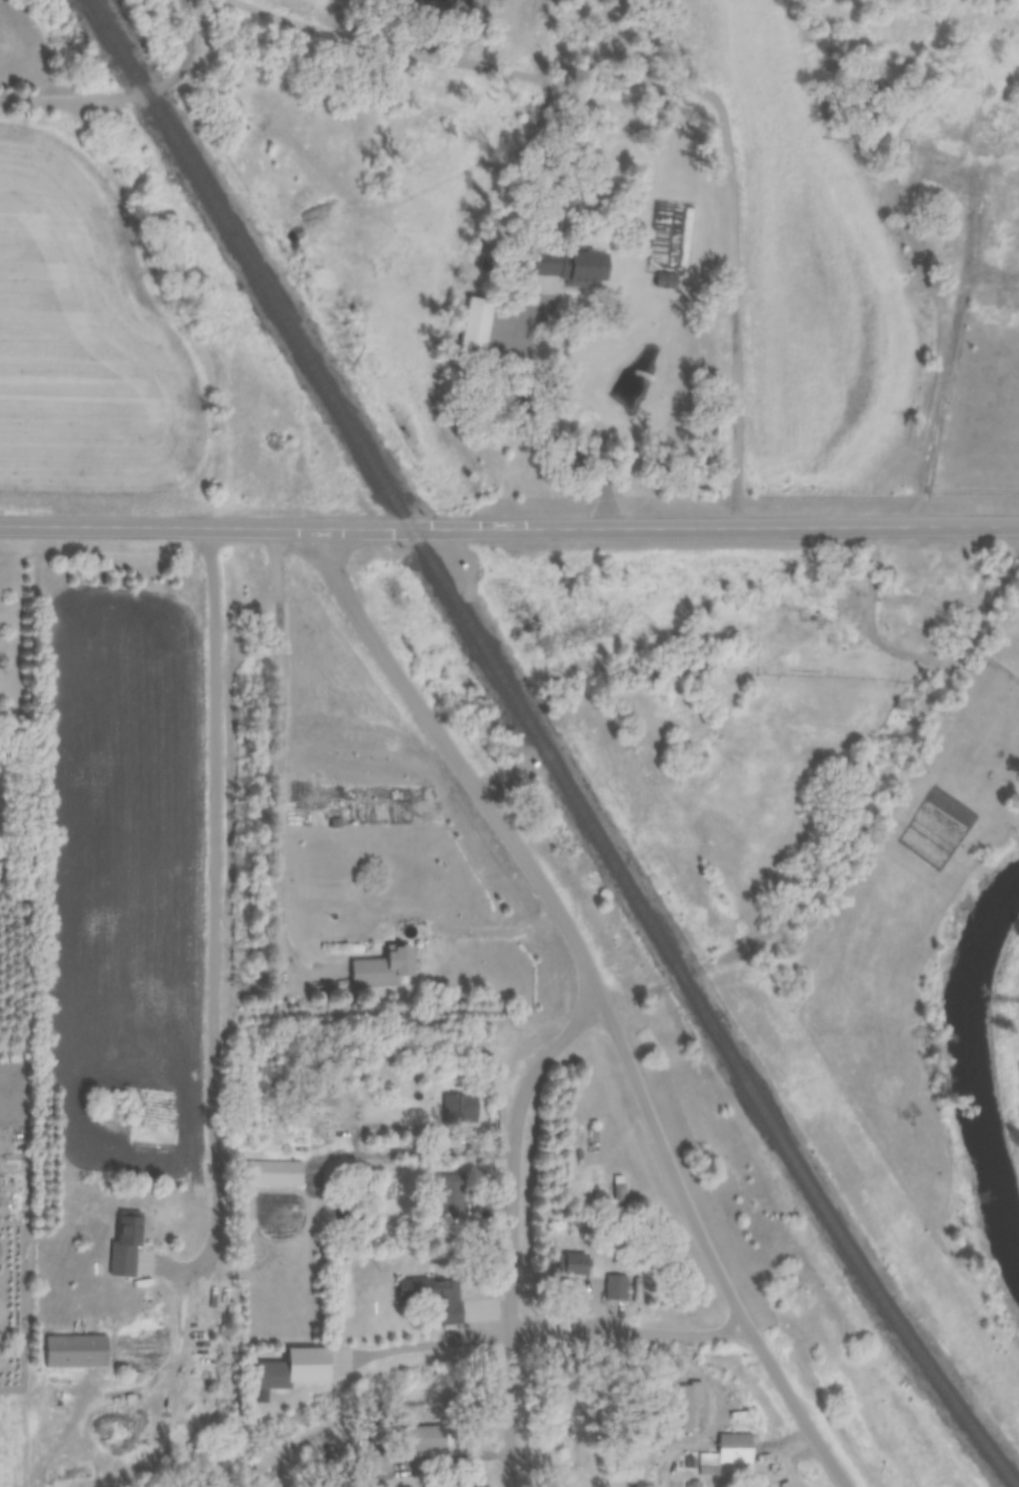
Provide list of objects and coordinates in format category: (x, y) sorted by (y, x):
road: (128, 94)
building: (982, 139)
building: (905, 161)
building: (577, 268)
building: (664, 280)
building: (1008, 289)
building: (479, 322)
road: (953, 329)
road: (601, 417)
road: (509, 527)
building: (831, 605)
road: (960, 649)
railway: (541, 751)
road: (460, 760)
road: (217, 922)
road: (481, 927)
building: (383, 968)
road: (665, 980)
river: (962, 1061)
building: (460, 1109)
building: (273, 1174)
building: (450, 1197)
road: (513, 1224)
building: (125, 1246)
road: (711, 1247)
building: (615, 1288)
building: (435, 1298)
road: (632, 1328)
road: (421, 1341)
building: (76, 1351)
building: (271, 1377)
building: (689, 1406)
road: (710, 1416)
building: (427, 1439)
building: (567, 1443)
building: (726, 1453)
building: (784, 1485)

